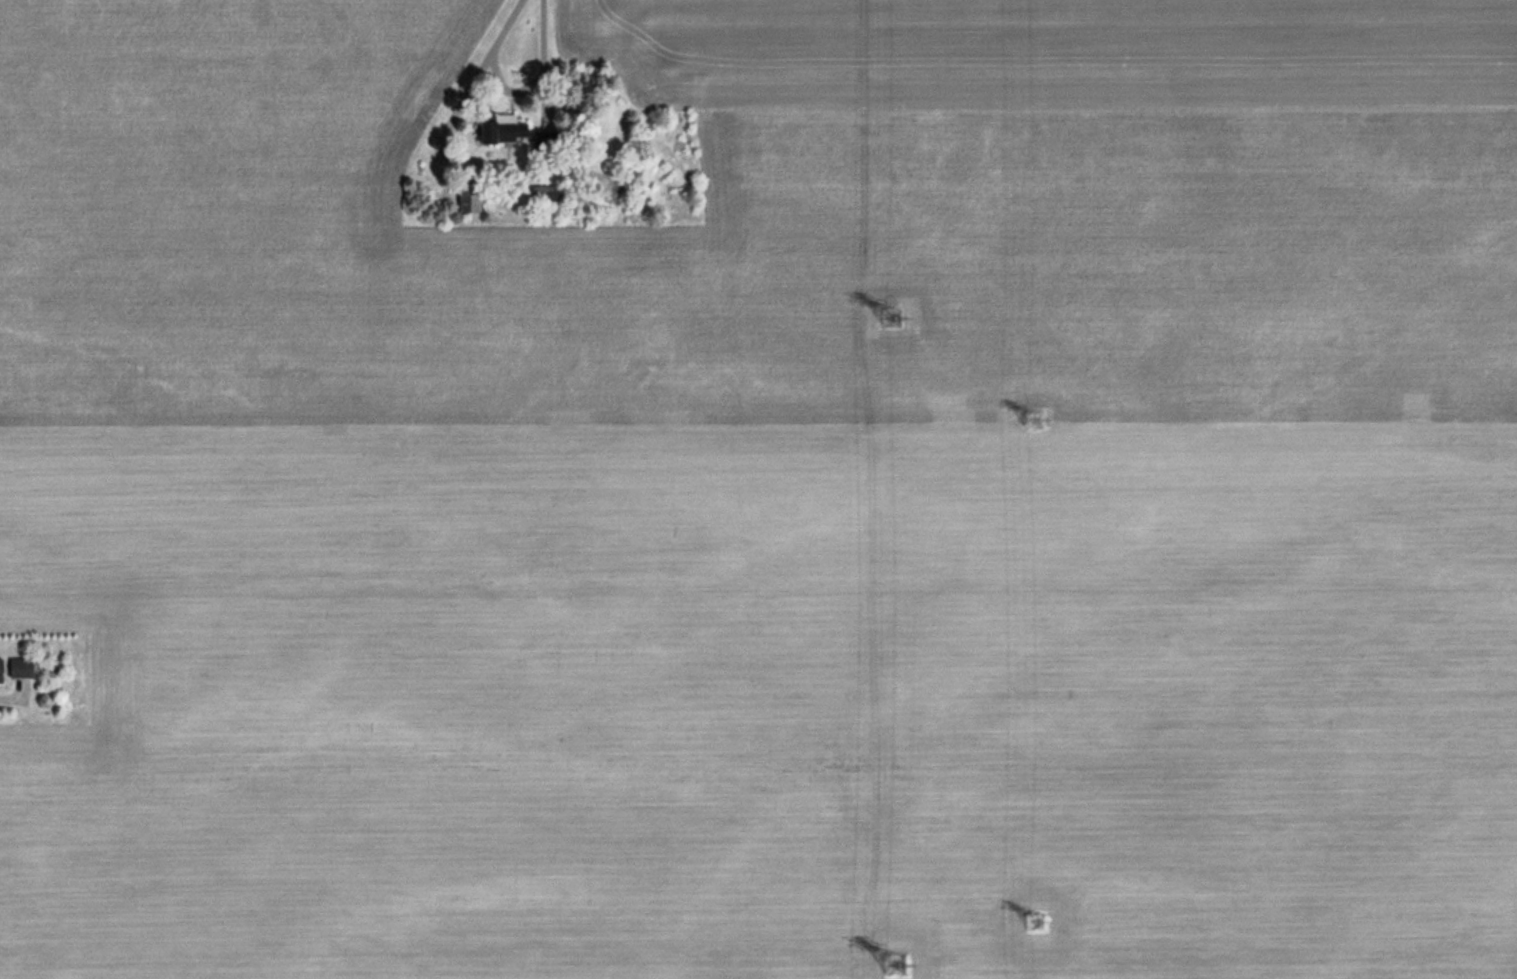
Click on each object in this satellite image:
road: (543, 64)
building: (498, 129)
building: (542, 193)
building: (465, 196)
power tower: (891, 319)
power tower: (1029, 418)
building: (17, 667)
power tower: (1035, 920)
power tower: (894, 965)

